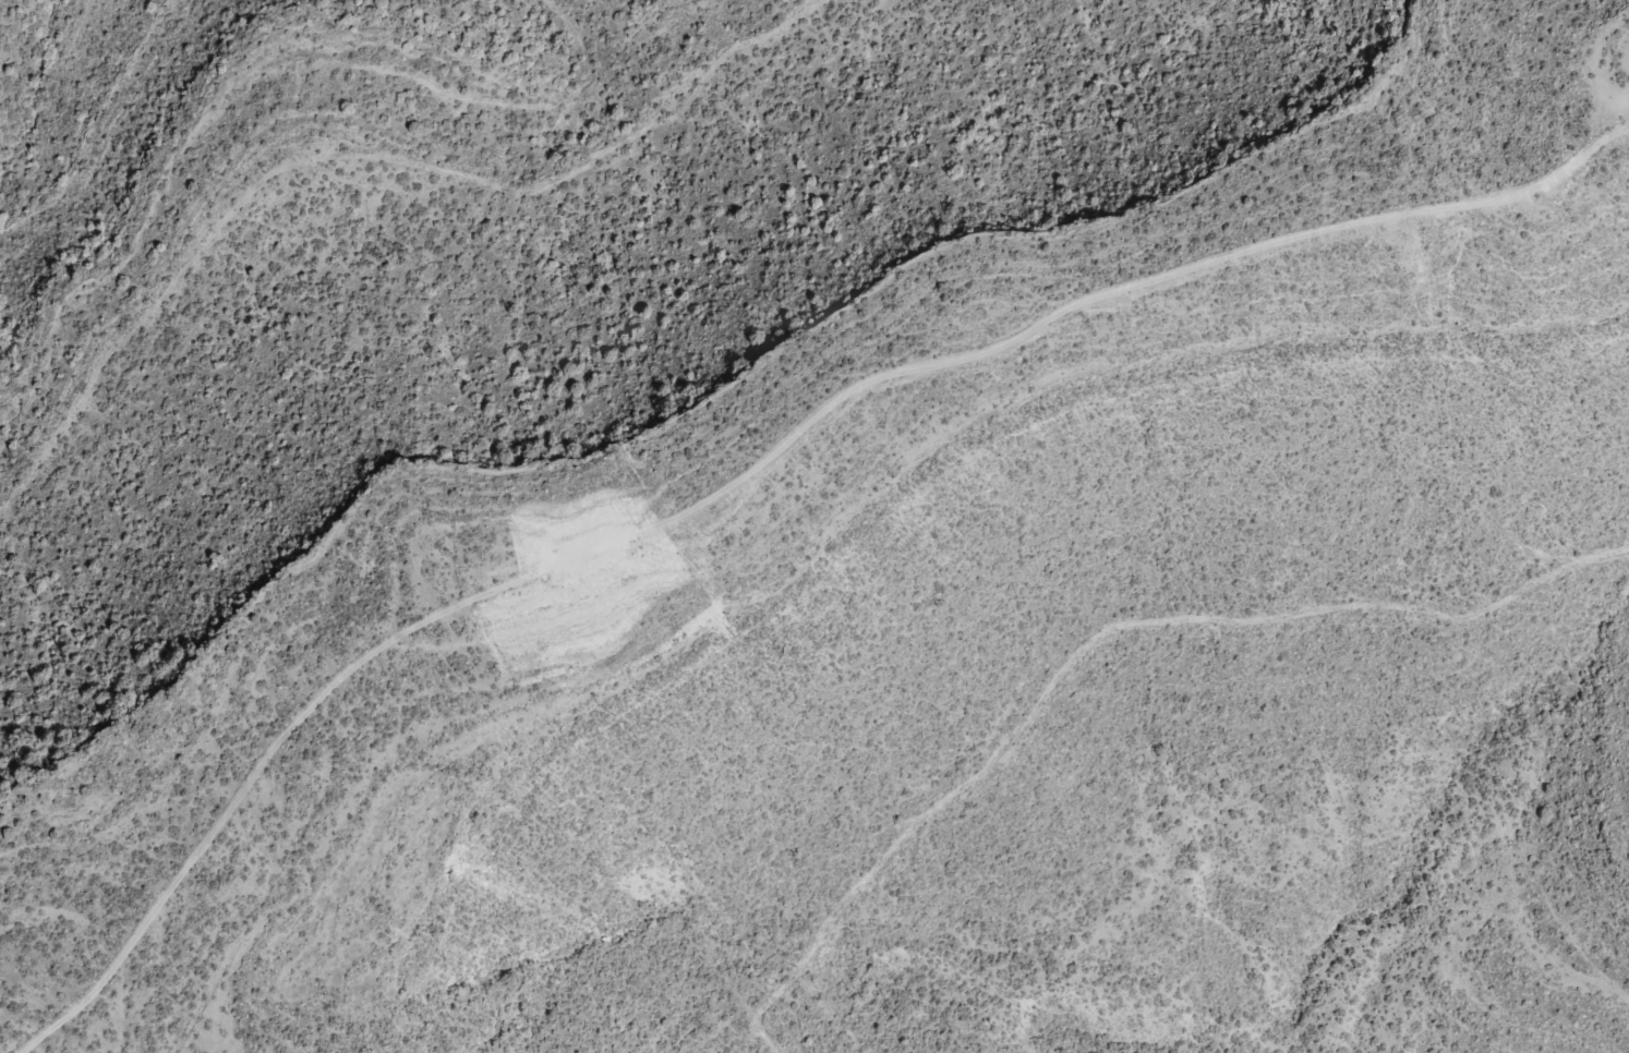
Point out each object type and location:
road: (755, 500)

